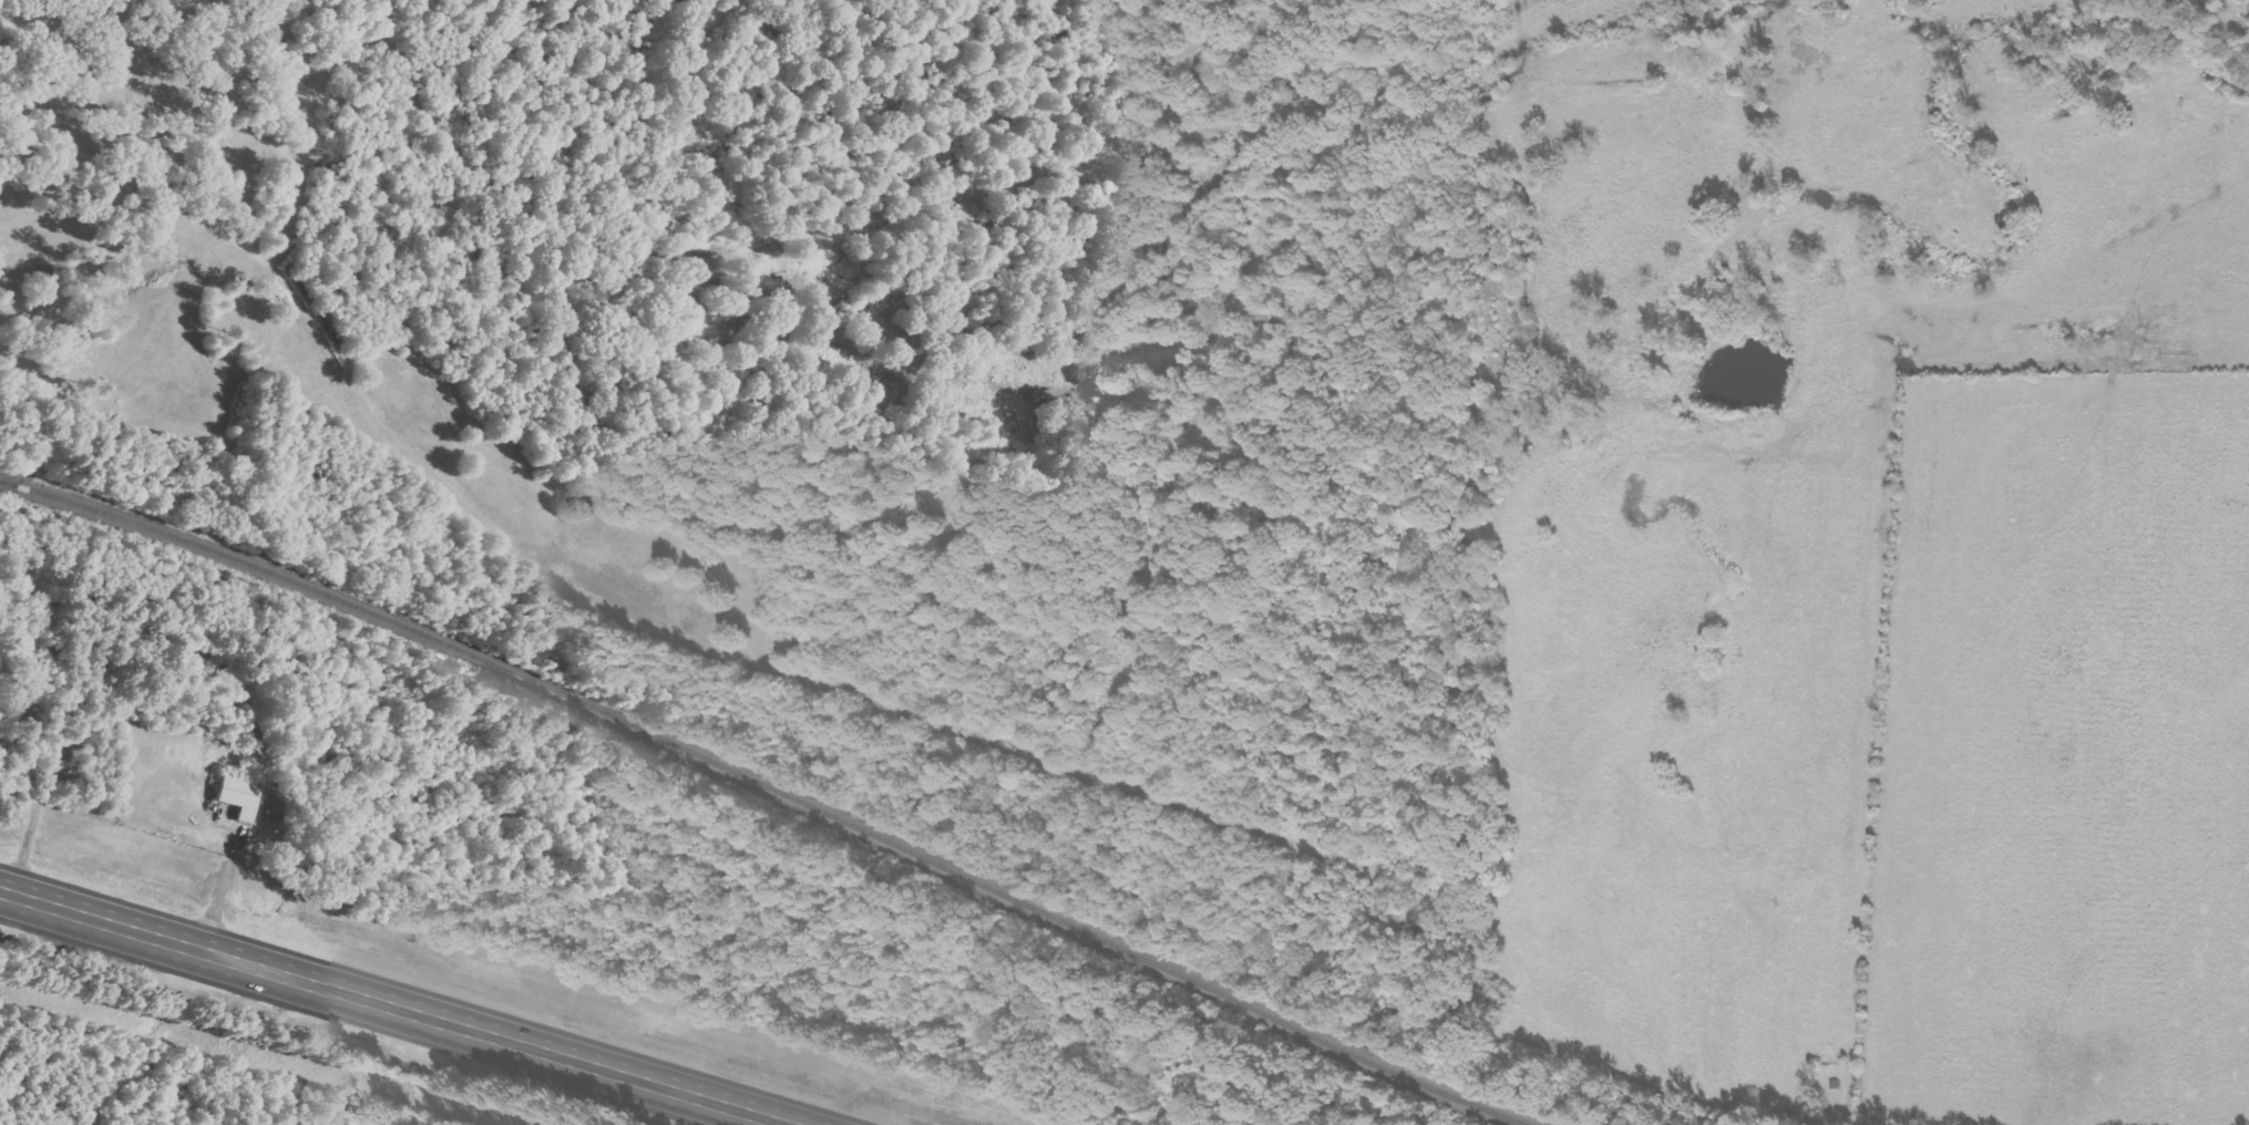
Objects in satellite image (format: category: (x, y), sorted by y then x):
railway: (770, 789)
building: (243, 795)
road: (390, 1008)

